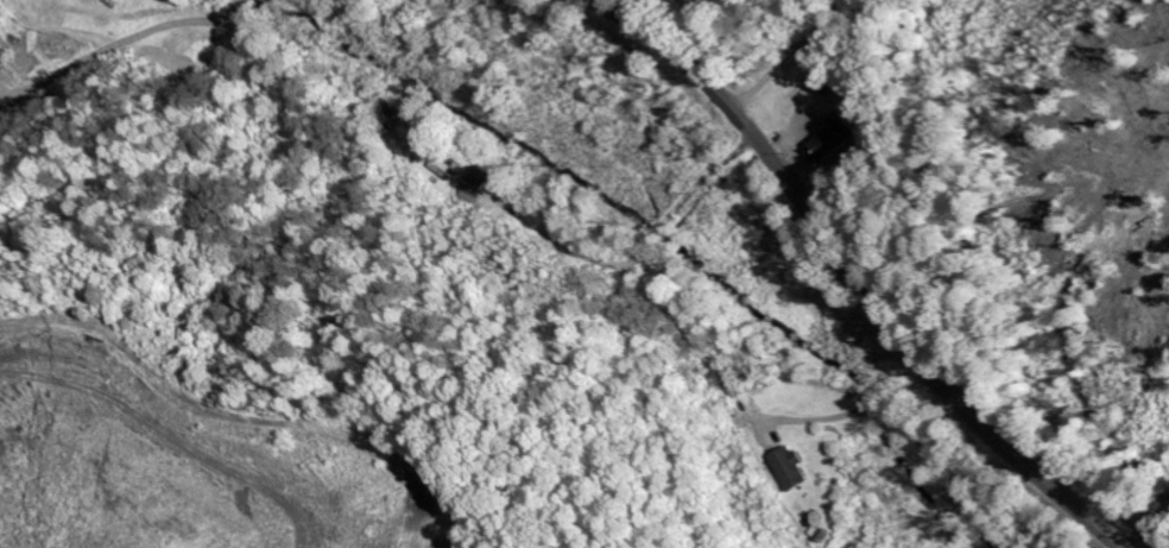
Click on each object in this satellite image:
building: (832, 139)
building: (440, 166)
building: (474, 185)
road: (851, 273)
building: (788, 467)

